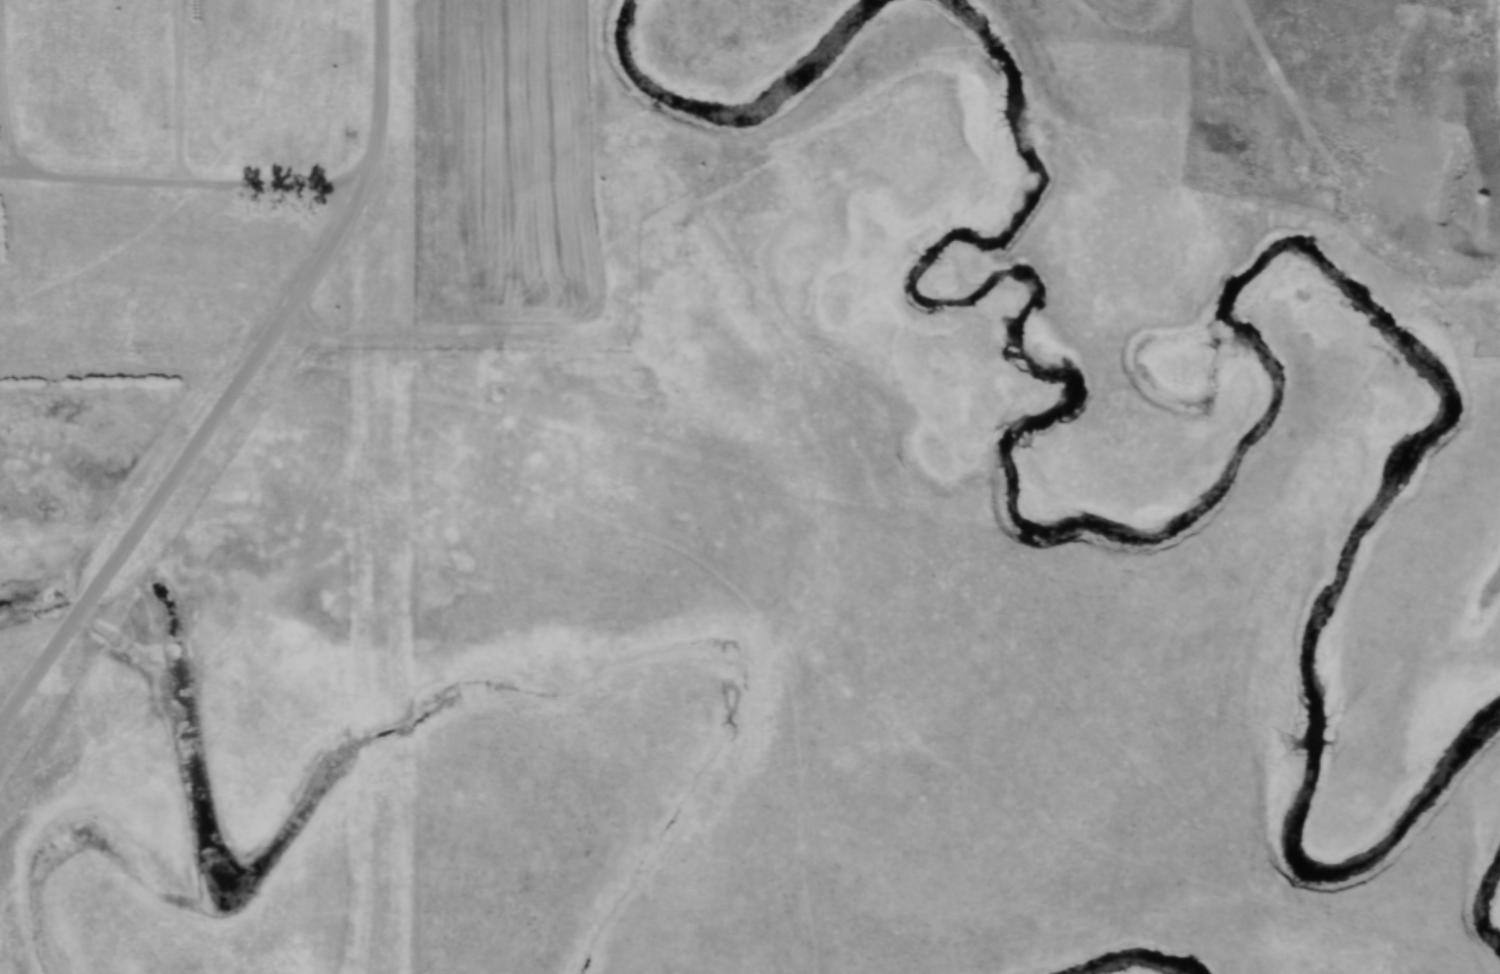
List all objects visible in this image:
road: (1295, 83)
road: (183, 91)
road: (1, 156)
road: (182, 181)
quarry: (1441, 183)
road: (379, 338)
road: (239, 382)

